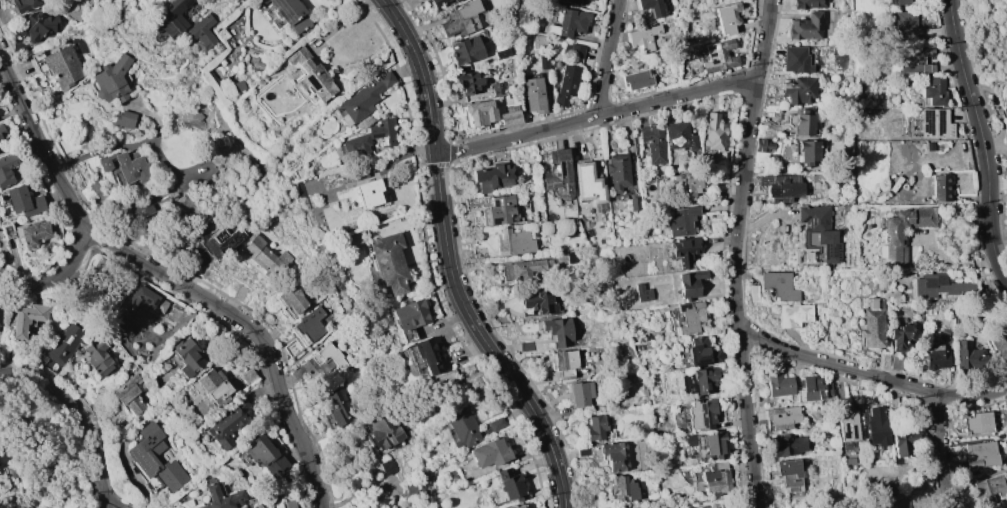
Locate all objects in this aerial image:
building: (455, 0)
building: (438, 2)
building: (567, 2)
building: (901, 2)
building: (1006, 2)
road: (365, 3)
building: (808, 3)
building: (23, 4)
building: (651, 6)
building: (291, 14)
building: (727, 17)
building: (170, 18)
building: (462, 19)
building: (570, 22)
building: (904, 25)
building: (806, 27)
building: (33, 29)
building: (202, 30)
road: (394, 38)
building: (643, 38)
building: (538, 41)
building: (466, 50)
building: (501, 50)
building: (719, 56)
road: (609, 59)
building: (796, 59)
building: (914, 60)
building: (543, 62)
building: (62, 66)
road: (407, 68)
building: (568, 73)
building: (312, 75)
building: (636, 79)
building: (111, 80)
road: (411, 80)
building: (468, 82)
building: (238, 86)
building: (498, 88)
building: (800, 90)
building: (934, 92)
building: (534, 94)
building: (365, 97)
building: (479, 112)
building: (509, 116)
road: (418, 117)
building: (124, 119)
road: (596, 119)
building: (802, 123)
building: (934, 123)
building: (383, 132)
building: (714, 132)
building: (2, 134)
building: (679, 136)
road: (984, 141)
building: (652, 143)
building: (763, 145)
road: (124, 146)
building: (354, 146)
building: (929, 146)
building: (0, 147)
road: (423, 148)
building: (808, 152)
road: (442, 164)
road: (421, 165)
building: (126, 166)
road: (419, 167)
building: (6, 168)
building: (617, 171)
building: (493, 176)
building: (558, 177)
road: (426, 178)
building: (587, 182)
building: (683, 185)
building: (781, 187)
building: (941, 188)
building: (368, 193)
building: (24, 201)
building: (634, 203)
building: (140, 208)
building: (500, 211)
road: (431, 219)
building: (680, 221)
building: (0, 233)
building: (32, 233)
building: (819, 233)
building: (893, 236)
building: (222, 241)
building: (514, 243)
building: (685, 250)
road: (737, 253)
building: (264, 256)
building: (573, 256)
road: (436, 260)
road: (426, 261)
road: (447, 262)
building: (389, 263)
building: (102, 268)
building: (521, 270)
road: (170, 280)
road: (56, 281)
road: (445, 284)
building: (690, 284)
building: (778, 285)
building: (936, 286)
road: (432, 288)
building: (236, 291)
building: (642, 292)
road: (401, 297)
building: (291, 299)
road: (447, 299)
building: (540, 301)
building: (134, 305)
building: (0, 308)
building: (410, 315)
building: (794, 315)
road: (456, 316)
building: (689, 317)
building: (25, 318)
building: (873, 324)
building: (308, 326)
building: (558, 331)
road: (468, 335)
building: (903, 335)
building: (947, 335)
building: (64, 343)
building: (526, 346)
building: (1000, 346)
road: (475, 347)
building: (701, 352)
building: (427, 354)
building: (99, 356)
building: (969, 356)
building: (186, 357)
building: (885, 359)
building: (936, 359)
building: (319, 363)
building: (567, 364)
road: (487, 365)
road: (283, 372)
road: (871, 374)
building: (248, 377)
building: (442, 380)
building: (703, 380)
building: (778, 385)
building: (214, 387)
building: (813, 390)
building: (579, 393)
building: (129, 394)
road: (513, 400)
building: (338, 406)
road: (518, 408)
building: (701, 414)
road: (79, 416)
building: (781, 417)
building: (977, 423)
building: (493, 425)
building: (876, 426)
building: (461, 427)
building: (224, 428)
building: (594, 428)
building: (847, 430)
building: (383, 432)
road: (534, 437)
building: (904, 442)
building: (714, 445)
building: (787, 445)
road: (539, 451)
road: (939, 452)
building: (489, 453)
building: (142, 454)
building: (979, 455)
building: (266, 456)
building: (614, 456)
road: (543, 461)
building: (452, 474)
building: (789, 474)
building: (715, 480)
building: (509, 484)
building: (988, 487)
building: (623, 489)
building: (222, 496)
building: (593, 501)
building: (291, 504)
building: (258, 506)
building: (514, 506)
building: (710, 506)
building: (1006, 507)

